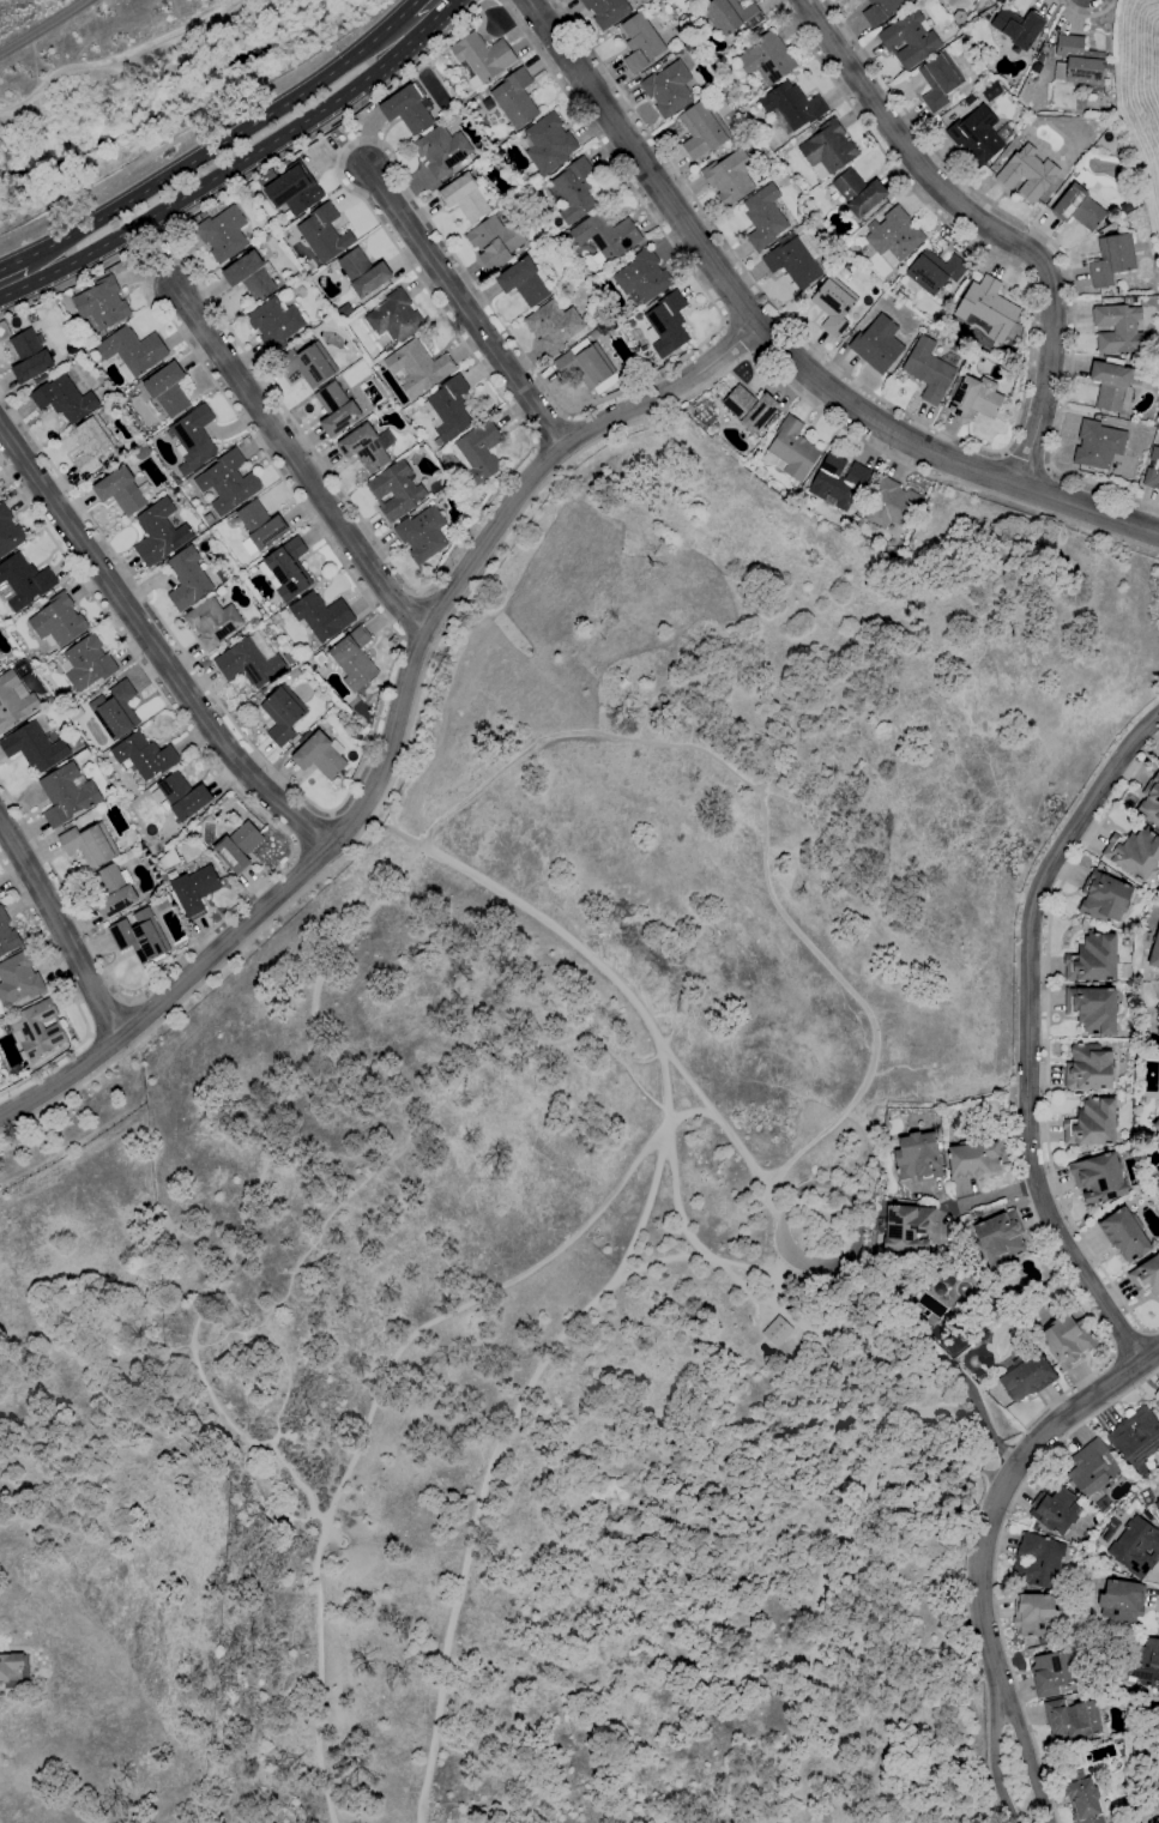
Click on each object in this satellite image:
building: (702, 0)
building: (634, 2)
building: (606, 11)
building: (880, 11)
building: (730, 16)
road: (1087, 16)
road: (416, 19)
road: (37, 25)
building: (1018, 28)
building: (1042, 36)
building: (910, 40)
building: (640, 42)
building: (688, 46)
building: (441, 47)
building: (1048, 50)
building: (481, 58)
building: (1039, 58)
building: (766, 59)
building: (1077, 62)
building: (1106, 64)
building: (1036, 67)
building: (443, 74)
building: (1106, 74)
building: (938, 82)
building: (668, 89)
building: (990, 91)
building: (512, 99)
park: (1141, 101)
building: (791, 107)
building: (408, 108)
building: (441, 115)
building: (1022, 119)
building: (701, 131)
road: (345, 132)
building: (976, 135)
building: (548, 144)
building: (441, 150)
building: (827, 150)
road: (236, 152)
building: (1027, 174)
road: (249, 175)
building: (265, 177)
building: (729, 177)
building: (292, 189)
building: (572, 191)
building: (858, 192)
building: (465, 197)
building: (1077, 207)
building: (201, 215)
building: (763, 217)
road: (984, 229)
building: (222, 234)
building: (324, 234)
building: (893, 234)
building: (560, 237)
building: (604, 237)
building: (493, 241)
building: (847, 242)
road: (1055, 248)
road: (153, 249)
building: (851, 249)
building: (840, 254)
building: (1157, 255)
building: (1111, 259)
building: (792, 260)
road: (32, 265)
building: (934, 271)
building: (362, 273)
building: (250, 274)
building: (642, 277)
building: (525, 280)
building: (380, 289)
building: (1118, 290)
building: (374, 301)
building: (1135, 301)
building: (101, 302)
building: (648, 304)
building: (833, 304)
road: (465, 307)
building: (986, 309)
building: (344, 312)
building: (394, 318)
building: (610, 320)
building: (596, 321)
building: (274, 322)
building: (666, 324)
building: (553, 326)
building: (602, 326)
building: (1117, 328)
building: (932, 331)
building: (592, 334)
road: (735, 338)
building: (298, 344)
building: (876, 345)
road: (778, 346)
building: (132, 351)
building: (29, 357)
building: (308, 364)
building: (585, 366)
building: (417, 367)
building: (929, 369)
building: (368, 381)
building: (1110, 384)
building: (165, 390)
building: (973, 397)
building: (64, 398)
building: (449, 409)
building: (749, 409)
building: (336, 410)
building: (768, 424)
building: (774, 427)
building: (1143, 429)
building: (194, 439)
road: (956, 439)
building: (417, 440)
building: (419, 445)
building: (1097, 445)
building: (89, 446)
building: (366, 447)
building: (725, 448)
building: (790, 451)
building: (141, 452)
building: (477, 453)
road: (1026, 459)
road: (295, 460)
building: (1152, 471)
building: (227, 482)
building: (838, 482)
road: (541, 487)
building: (120, 490)
building: (394, 490)
building: (445, 490)
building: (891, 505)
building: (207, 519)
building: (259, 527)
building: (8, 532)
building: (158, 532)
building: (421, 535)
road: (374, 538)
building: (286, 569)
building: (187, 579)
building: (22, 581)
building: (41, 600)
building: (284, 614)
building: (322, 615)
building: (56, 620)
building: (212, 623)
road: (151, 646)
building: (261, 648)
building: (288, 658)
building: (354, 659)
building: (85, 663)
building: (248, 664)
building: (294, 672)
building: (49, 699)
building: (13, 700)
building: (116, 710)
building: (280, 716)
road: (394, 729)
building: (34, 747)
building: (144, 755)
building: (320, 755)
building: (82, 756)
building: (67, 793)
building: (182, 796)
road: (761, 797)
building: (1149, 802)
road: (331, 814)
road: (330, 816)
road: (332, 816)
road: (345, 827)
road: (312, 834)
building: (89, 845)
building: (237, 845)
road: (292, 847)
building: (1133, 853)
building: (167, 861)
building: (1099, 865)
building: (114, 891)
building: (193, 891)
building: (1104, 899)
road: (58, 928)
building: (7, 934)
building: (139, 936)
building: (1151, 953)
building: (1095, 960)
building: (1139, 976)
building: (18, 979)
road: (325, 980)
road: (71, 995)
road: (125, 1004)
road: (128, 1004)
building: (1092, 1009)
building: (1157, 1010)
road: (140, 1018)
road: (107, 1020)
building: (1157, 1028)
building: (36, 1030)
road: (1027, 1034)
road: (89, 1036)
road: (1046, 1039)
road: (101, 1050)
building: (1088, 1068)
road: (677, 1070)
building: (16, 1072)
road: (632, 1079)
building: (1123, 1086)
road: (67, 1092)
building: (1091, 1123)
building: (1155, 1125)
building: (917, 1157)
building: (972, 1159)
road: (747, 1167)
building: (1157, 1172)
building: (1099, 1177)
road: (990, 1194)
park: (568, 1205)
building: (973, 1214)
building: (906, 1227)
building: (1124, 1235)
road: (690, 1236)
building: (1000, 1237)
road: (856, 1256)
building: (952, 1262)
building: (1146, 1276)
road: (779, 1312)
building: (777, 1330)
building: (1066, 1341)
road: (1129, 1341)
building: (1026, 1376)
road: (1075, 1388)
building: (1157, 1404)
building: (1136, 1438)
road: (502, 1451)
building: (1092, 1468)
building: (1146, 1498)
building: (1157, 1505)
building: (1056, 1509)
building: (1147, 1515)
building: (1033, 1526)
building: (1135, 1546)
road: (982, 1550)
building: (1037, 1561)
road: (996, 1564)
road: (321, 1593)
building: (1122, 1601)
building: (1034, 1613)
road: (835, 1617)
building: (1145, 1662)
building: (11, 1666)
building: (1052, 1672)
building: (1072, 1719)
building: (1151, 1739)
building: (1158, 1797)
building: (1082, 1799)
building: (1106, 1804)
building: (1158, 1805)

